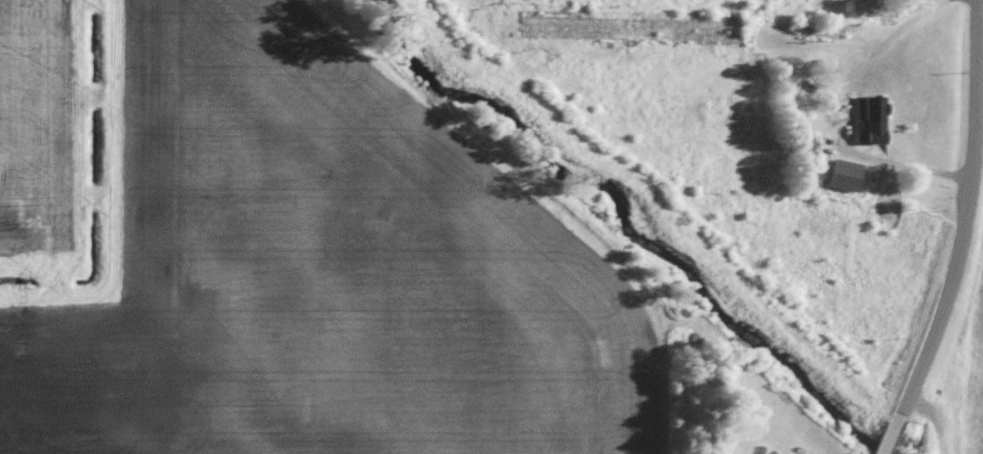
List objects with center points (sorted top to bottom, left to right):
building: (695, 27)
road: (845, 116)
building: (873, 119)
road: (959, 233)

